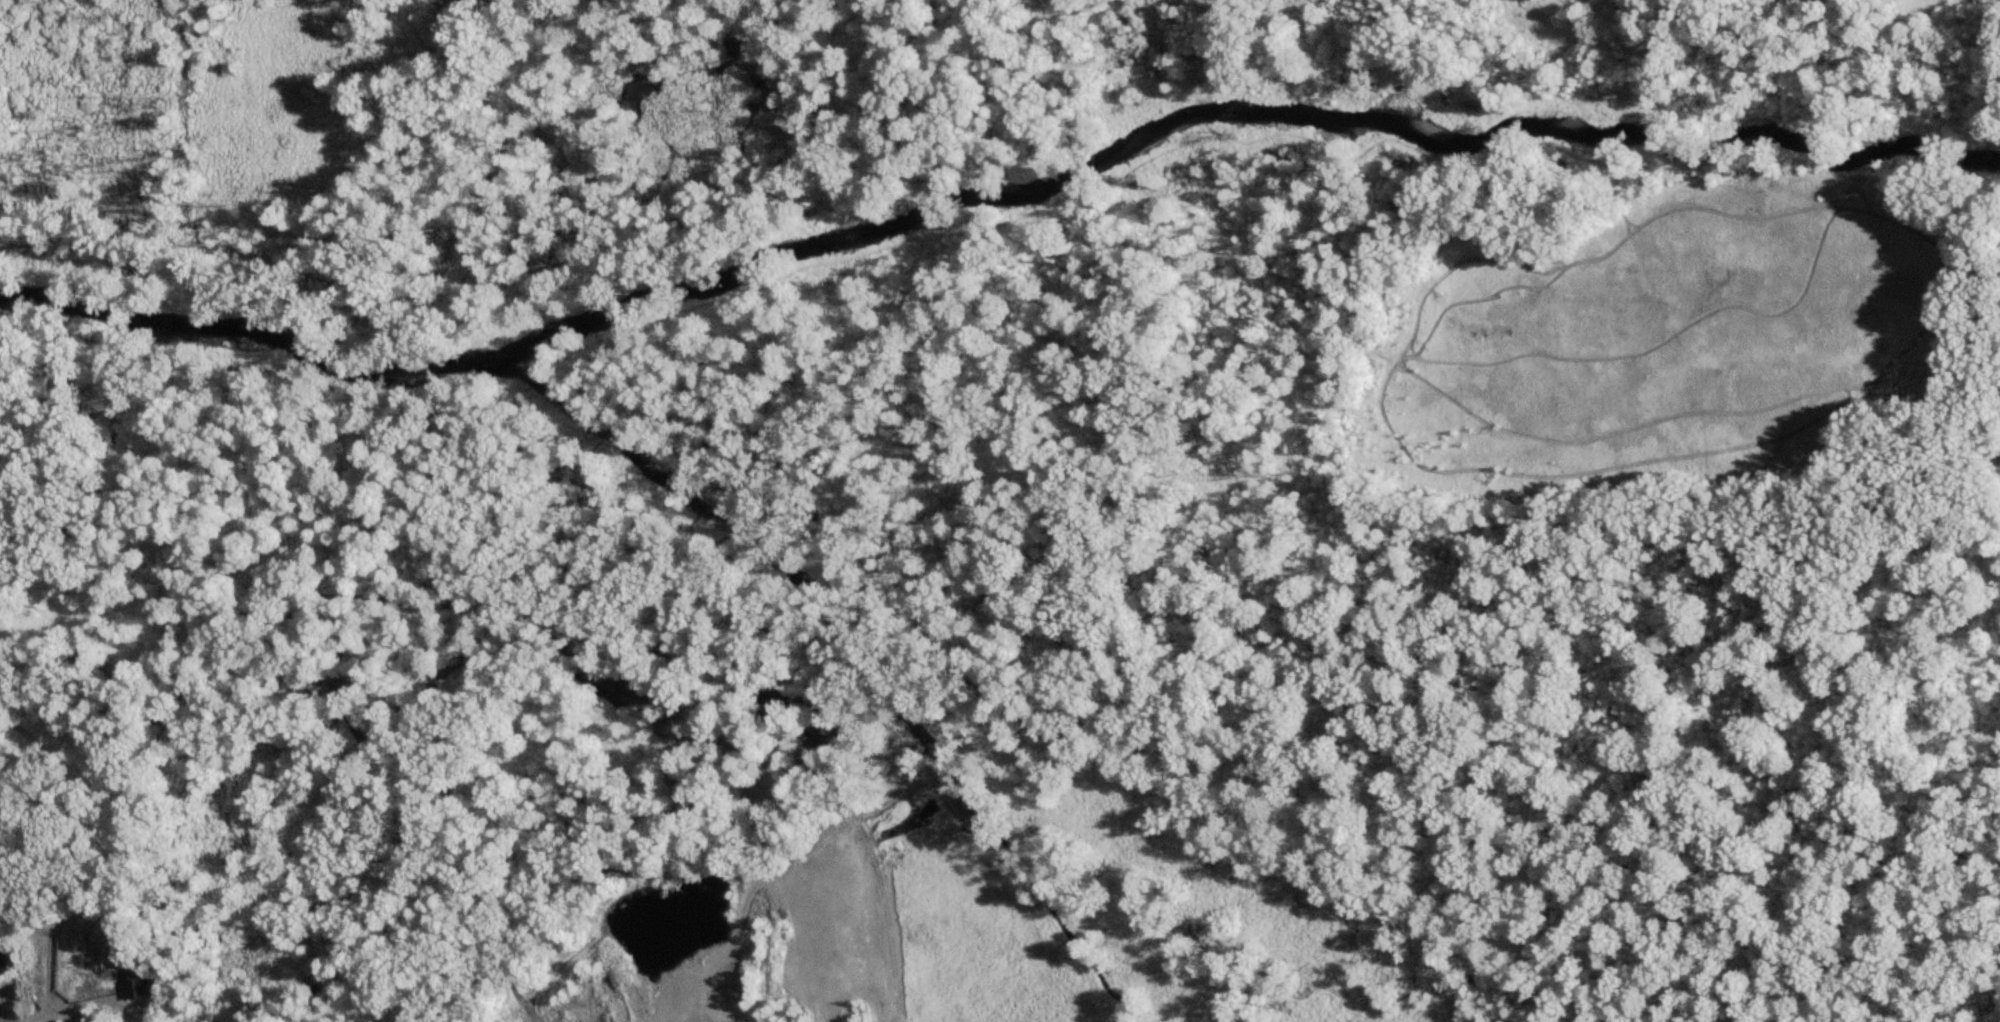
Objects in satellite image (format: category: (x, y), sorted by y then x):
river: (1030, 187)
building: (139, 983)
road: (80, 1000)

